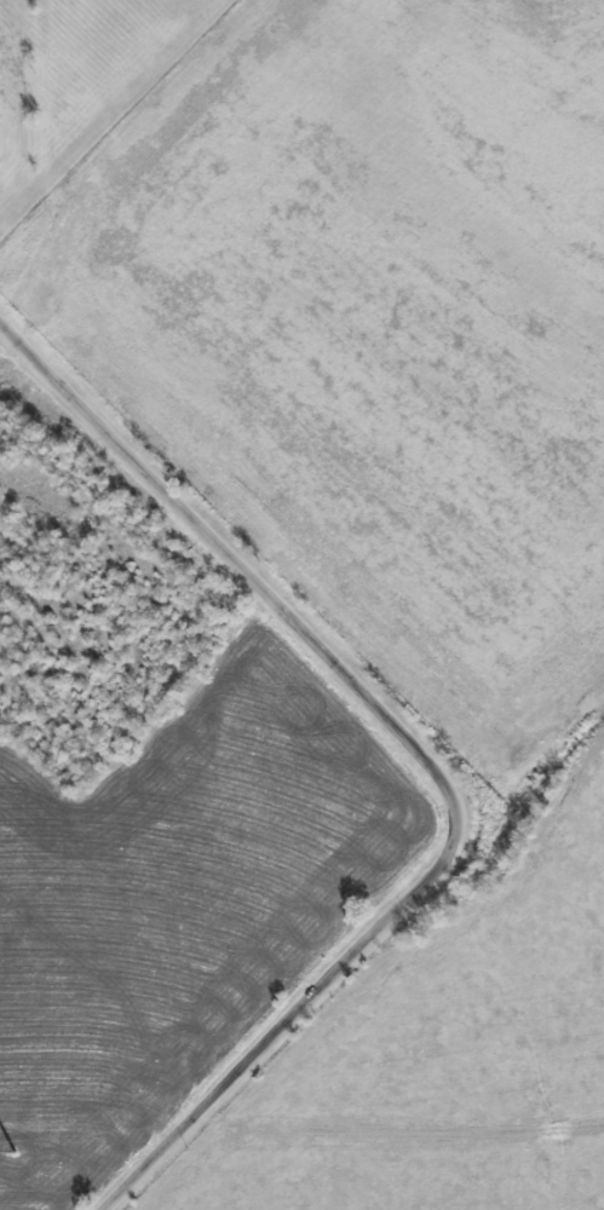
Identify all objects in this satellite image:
road: (424, 755)
power tower: (7, 1157)

